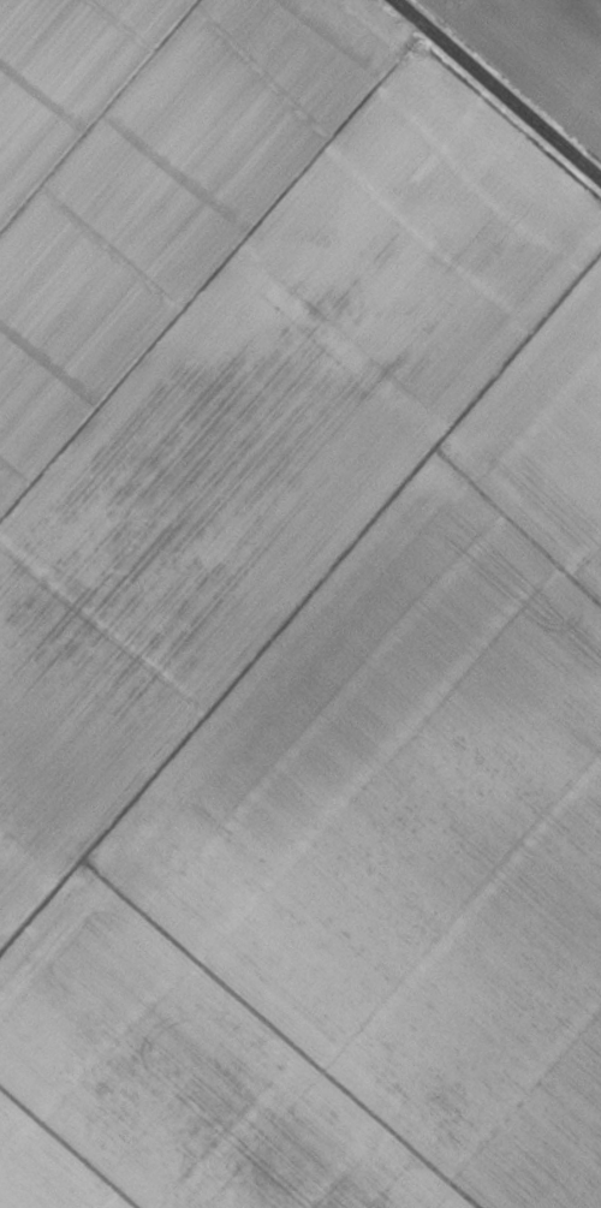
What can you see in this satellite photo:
road: (495, 89)
road: (156, 108)

